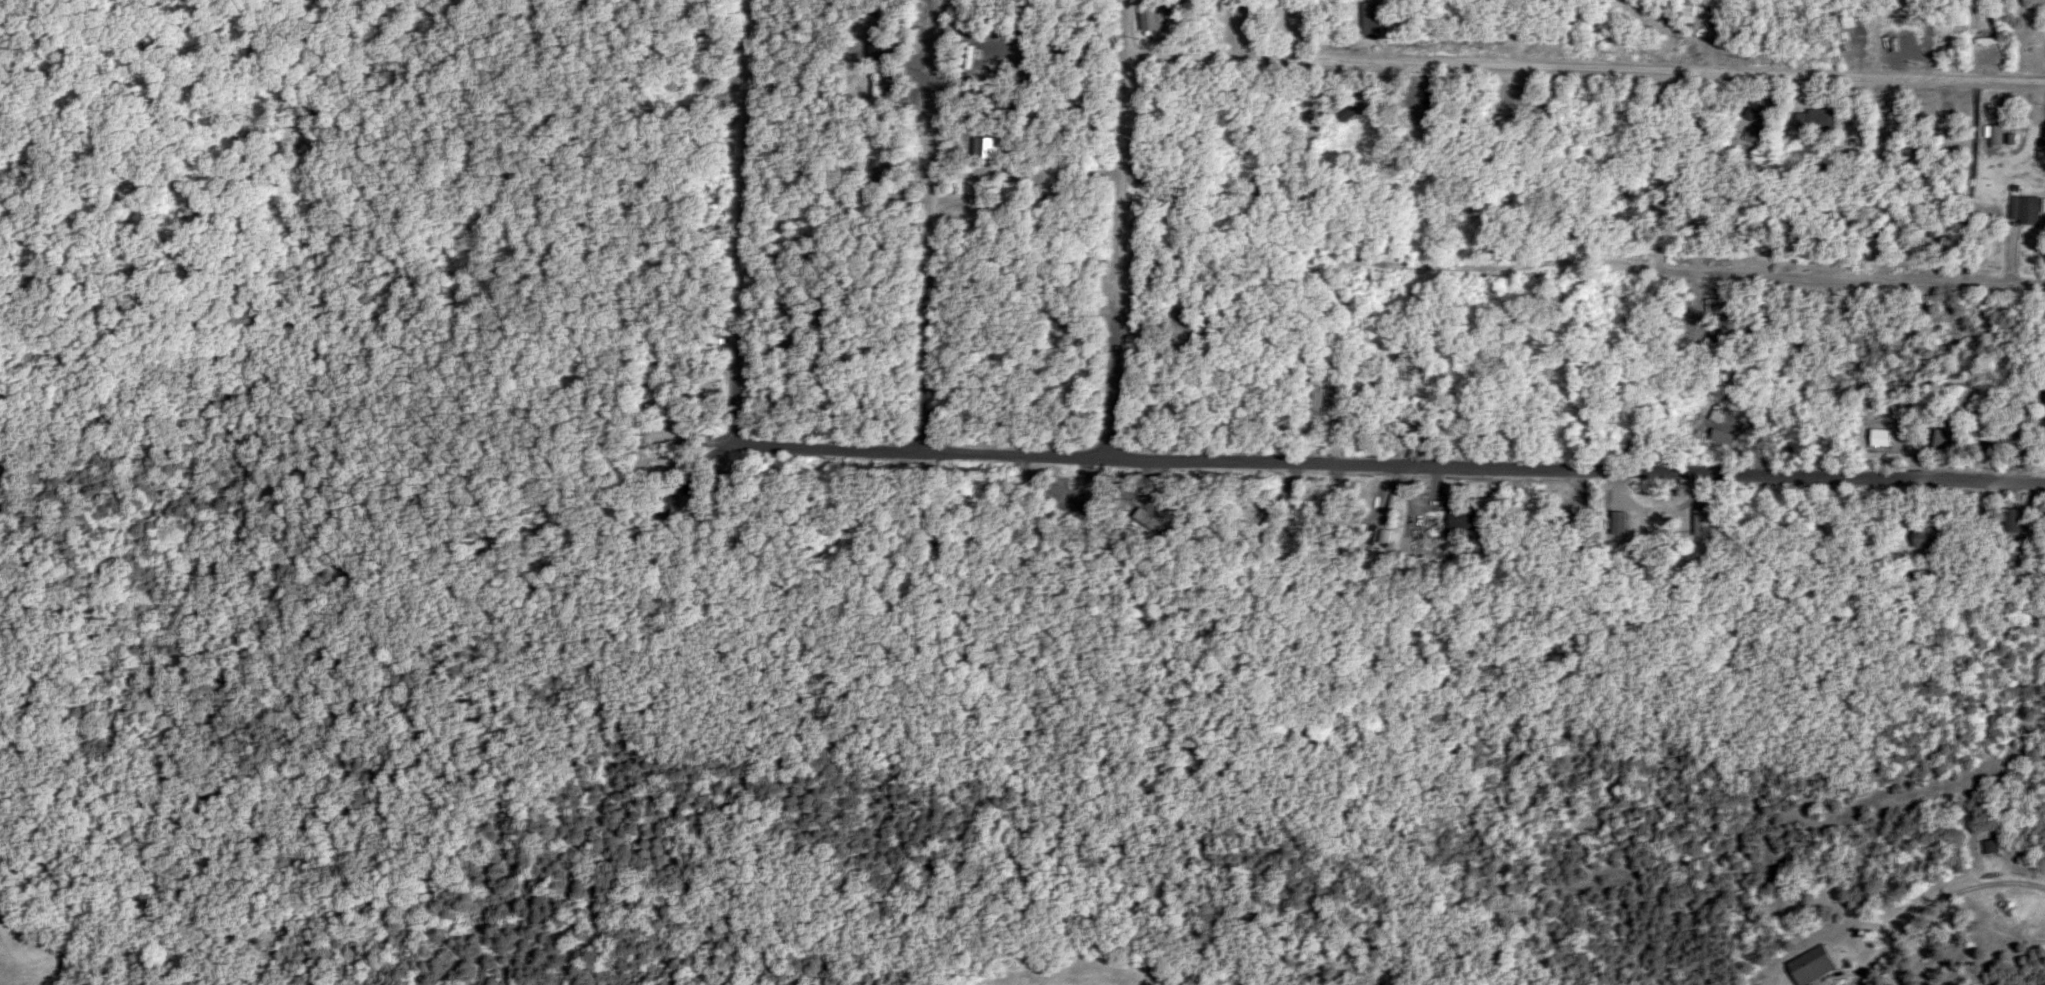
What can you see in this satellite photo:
road: (1590, 54)
building: (1825, 120)
building: (1998, 133)
building: (878, 169)
building: (2026, 210)
road: (746, 216)
road: (934, 220)
road: (1126, 224)
road: (1704, 267)
building: (1987, 427)
road: (704, 435)
road: (1393, 459)
building: (1465, 519)
road: (1939, 900)
road: (1844, 973)

